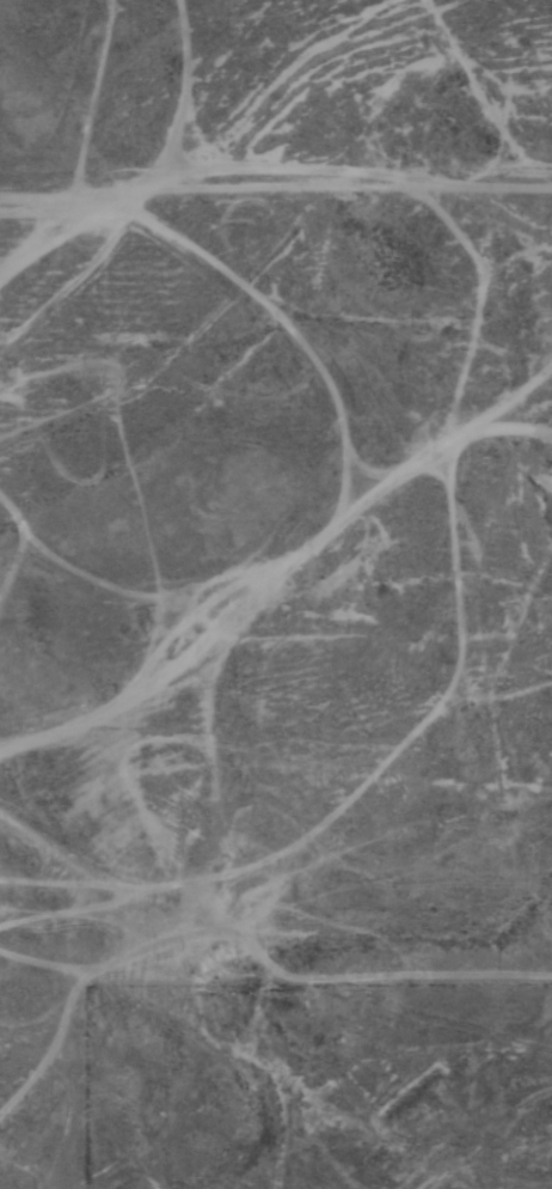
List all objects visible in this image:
road: (489, 1065)
road: (416, 1126)

